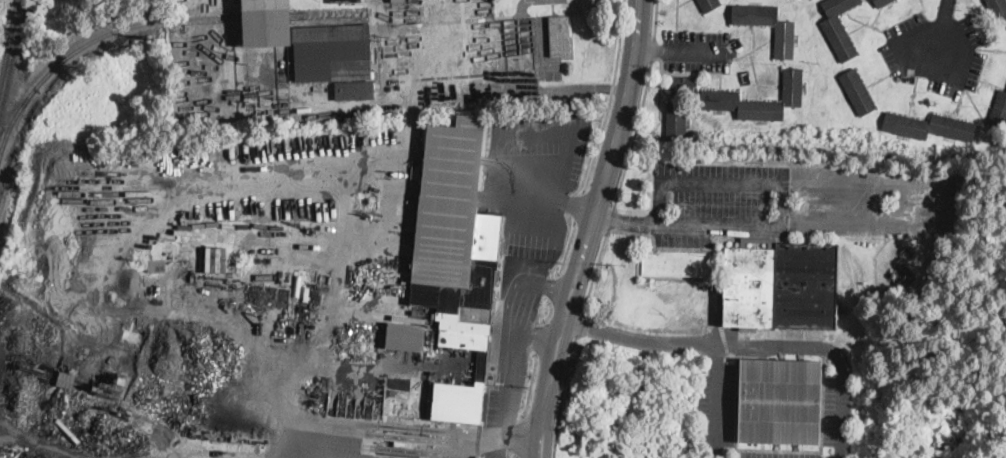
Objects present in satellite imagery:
road: (547, 0)
building: (339, 1)
building: (391, 1)
parking lot: (543, 1)
building: (881, 2)
building: (710, 4)
building: (998, 7)
railway: (324, 10)
railway: (260, 13)
road: (654, 18)
building: (260, 23)
road: (436, 24)
building: (767, 25)
building: (839, 28)
road: (941, 33)
building: (560, 36)
railway: (90, 37)
road: (652, 47)
road: (648, 48)
road: (694, 50)
parking lot: (696, 50)
parking lot: (935, 51)
building: (332, 52)
railway: (11, 54)
building: (683, 85)
building: (354, 90)
building: (857, 92)
road: (609, 96)
building: (720, 96)
building: (999, 111)
building: (676, 121)
building: (929, 126)
road: (634, 133)
road: (783, 180)
road: (549, 196)
road: (579, 207)
road: (609, 219)
road: (625, 219)
road: (589, 229)
building: (759, 241)
road: (567, 249)
building: (457, 255)
road: (594, 272)
road: (529, 285)
building: (782, 287)
road: (553, 288)
building: (304, 306)
road: (549, 312)
road: (580, 322)
road: (538, 335)
road: (637, 335)
road: (538, 336)
building: (403, 338)
road: (770, 342)
building: (66, 379)
building: (122, 380)
road: (531, 384)
building: (107, 390)
road: (561, 394)
building: (779, 401)
road: (504, 403)
building: (401, 419)
road: (516, 457)

